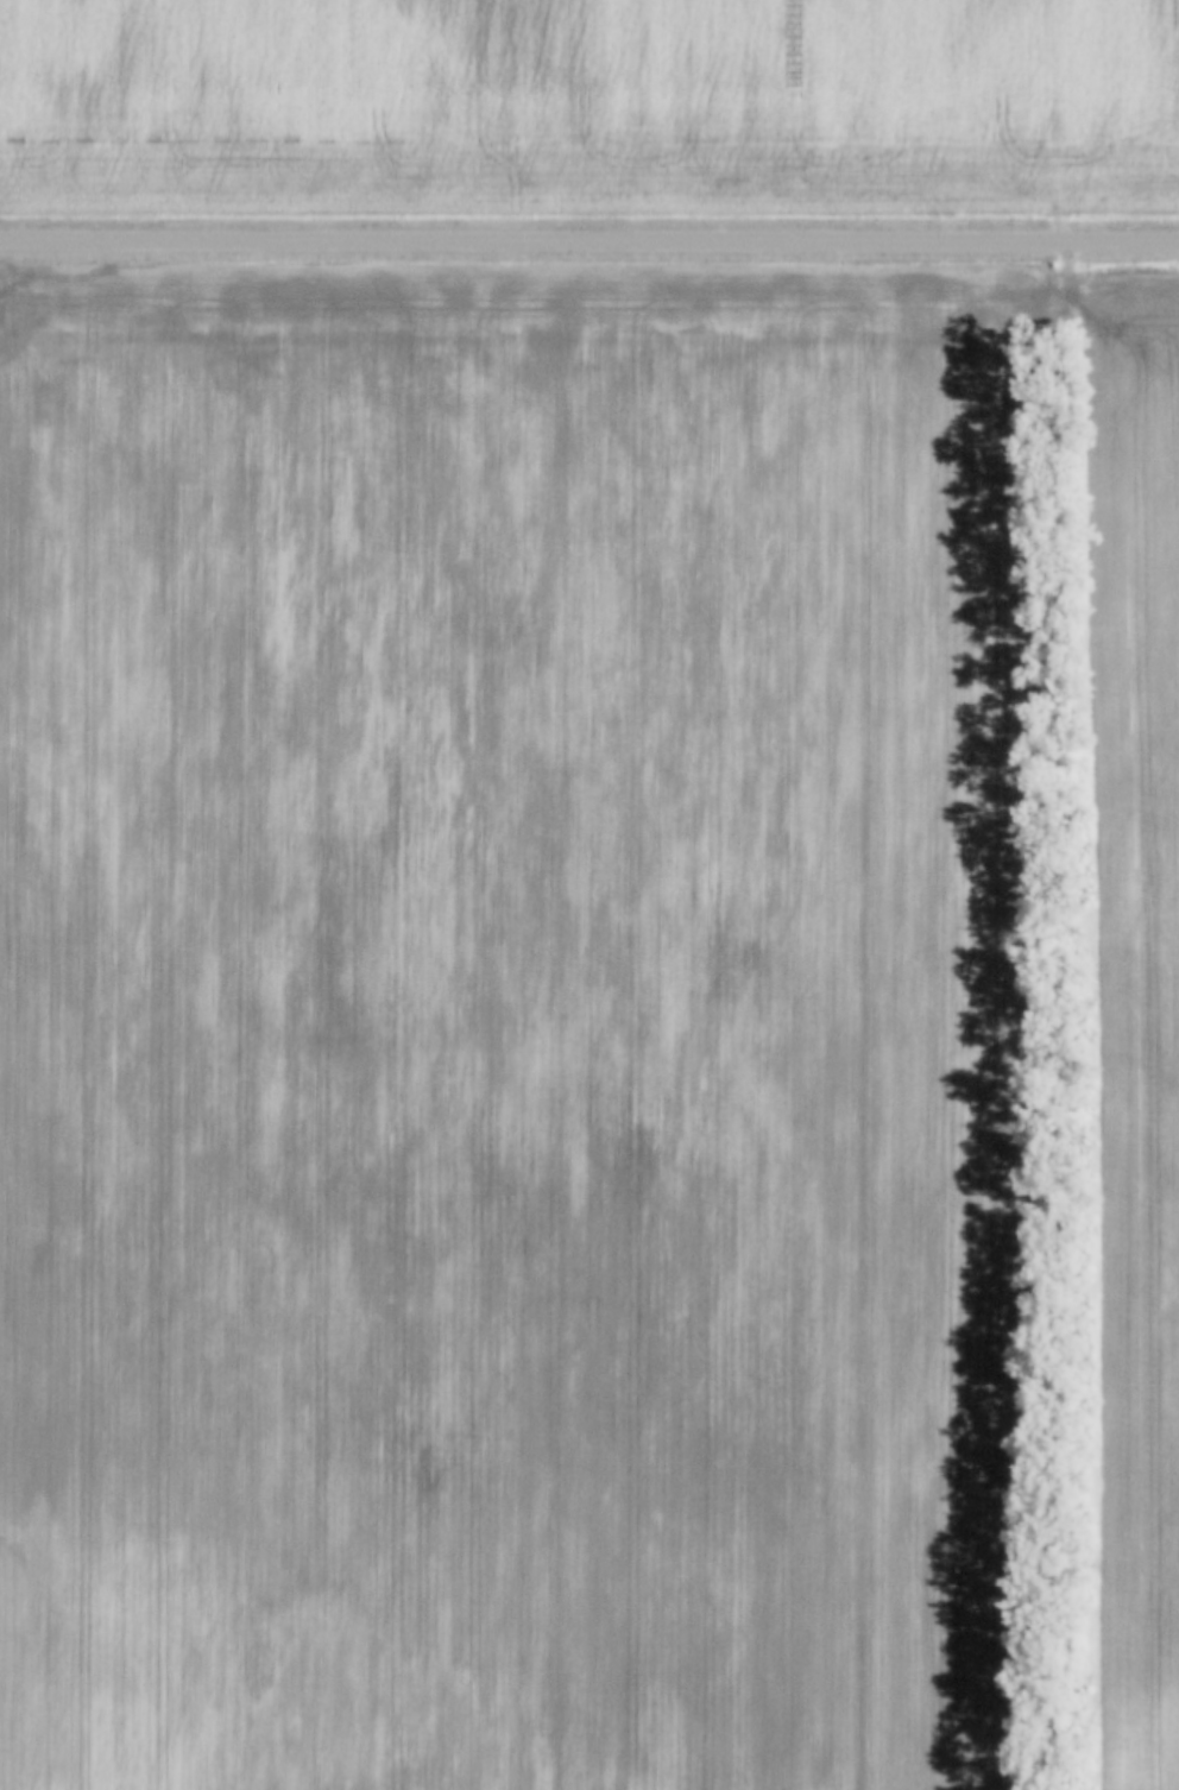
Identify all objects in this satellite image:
road: (589, 244)

